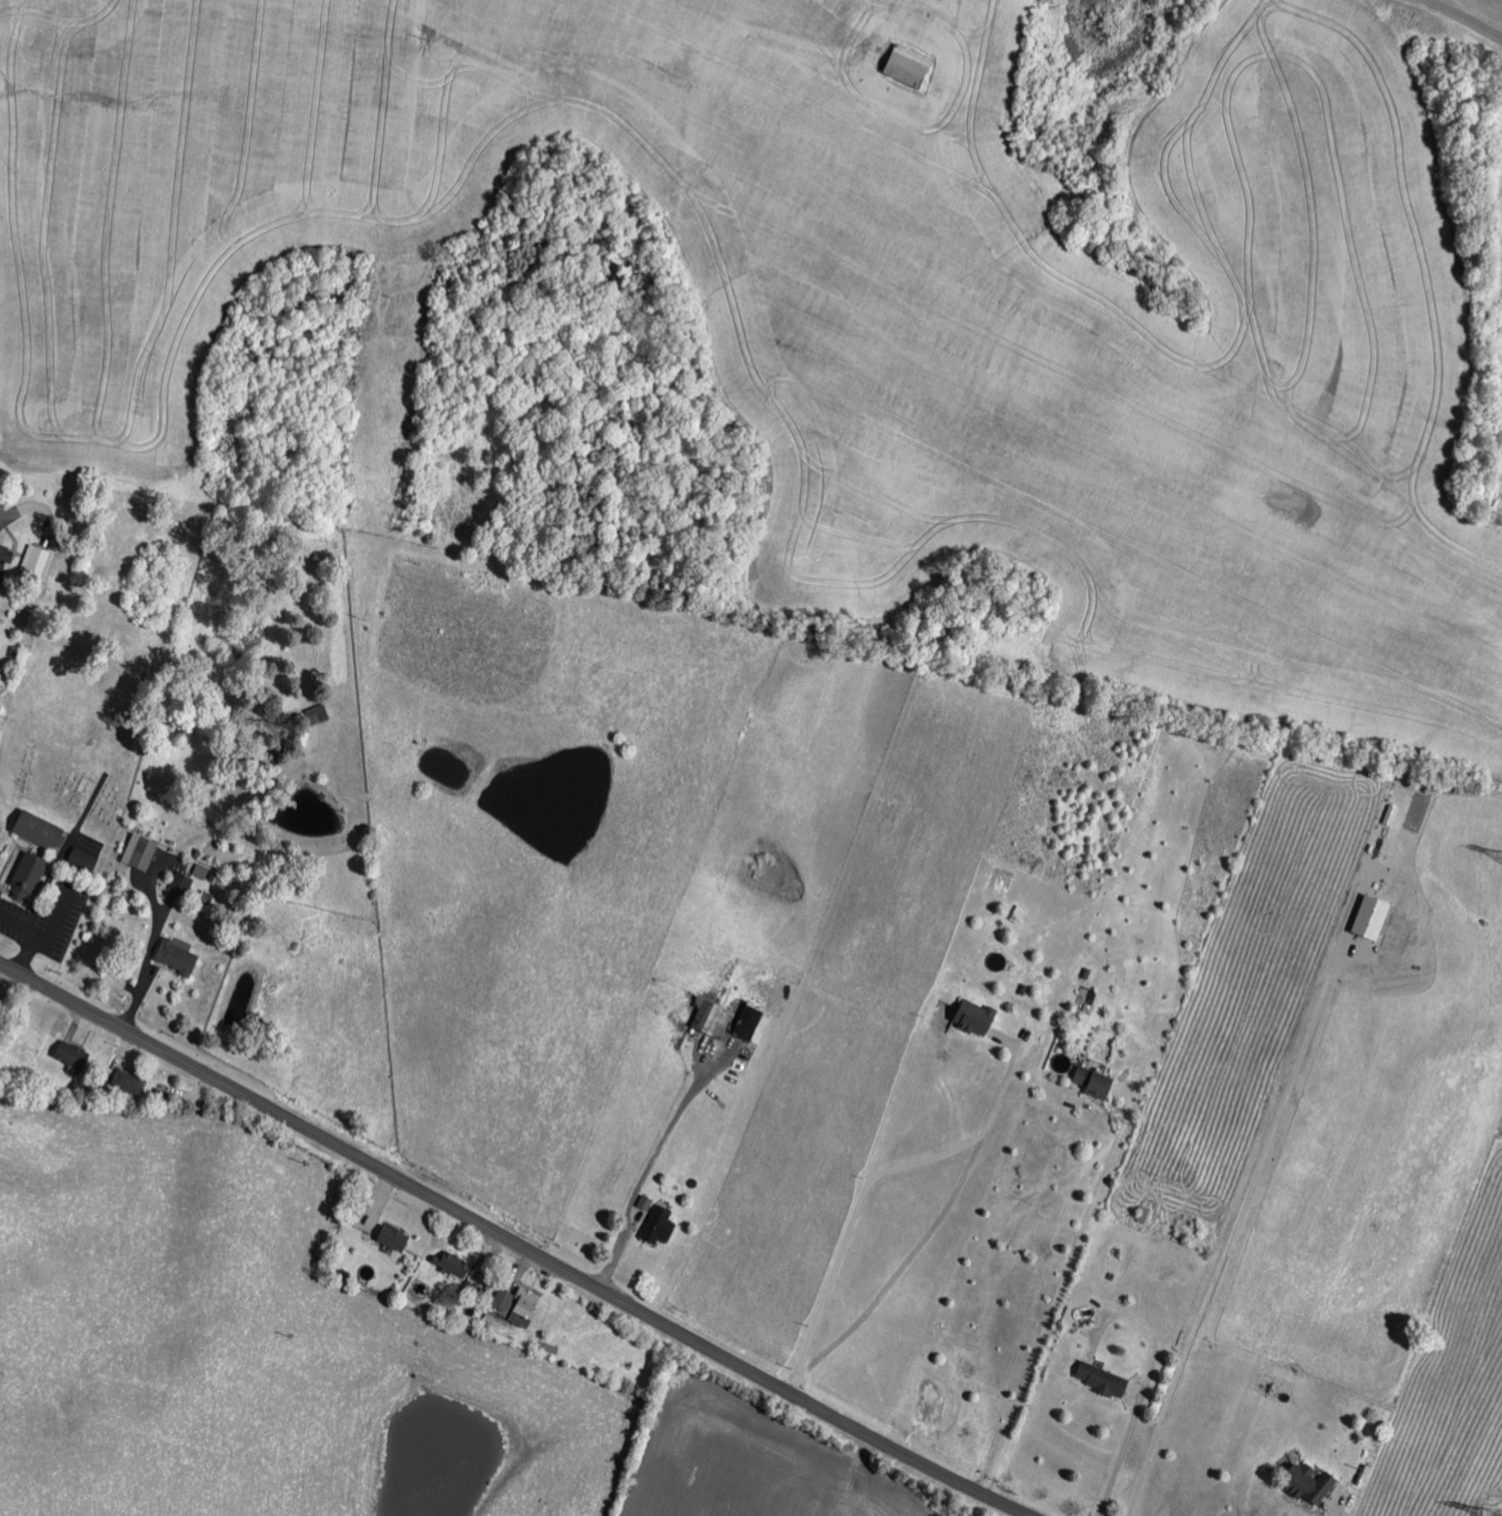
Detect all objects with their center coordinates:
road: (1464, 17)
building: (911, 66)
building: (37, 560)
building: (4, 563)
building: (319, 713)
park: (64, 774)
building: (1393, 814)
building: (42, 829)
building: (142, 851)
building: (85, 858)
building: (30, 875)
building: (1374, 916)
building: (179, 954)
building: (708, 1015)
building: (977, 1016)
building: (750, 1022)
building: (74, 1054)
building: (130, 1081)
building: (1098, 1082)
building: (647, 1202)
building: (1147, 1214)
building: (662, 1224)
building: (396, 1237)
road: (515, 1242)
building: (455, 1263)
building: (506, 1299)
building: (527, 1307)
building: (1105, 1379)
building: (1312, 1482)

